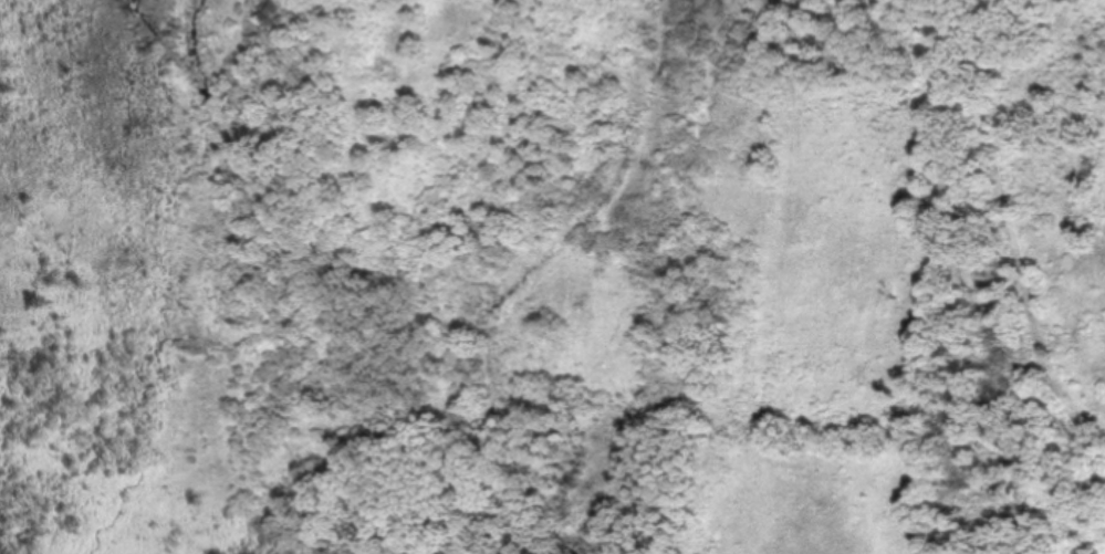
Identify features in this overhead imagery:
road: (929, 0)
road: (1000, 223)
park: (585, 276)

